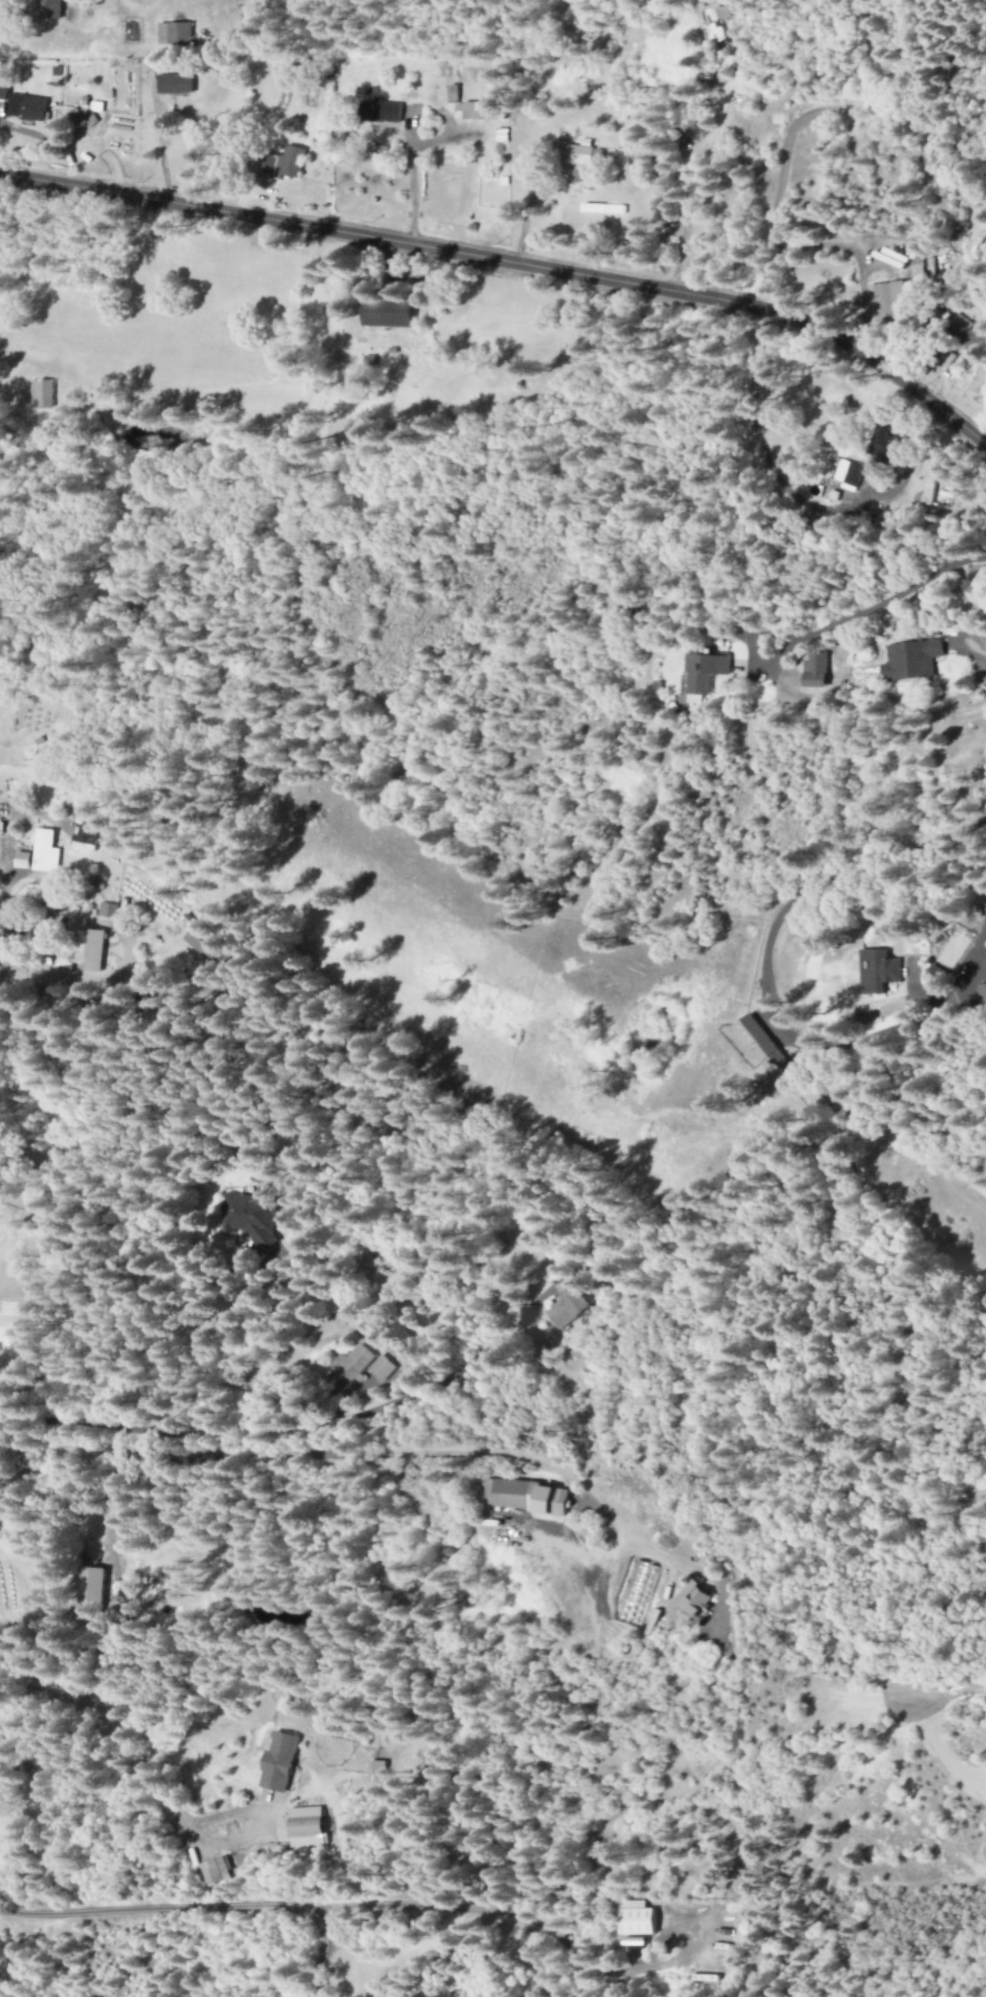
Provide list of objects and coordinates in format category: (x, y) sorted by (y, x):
building: (51, 9)
building: (715, 25)
building: (175, 33)
building: (345, 68)
building: (173, 79)
building: (5, 86)
building: (28, 107)
building: (478, 110)
building: (388, 111)
building: (622, 159)
building: (286, 163)
building: (604, 209)
road: (511, 264)
building: (885, 302)
building: (393, 312)
building: (964, 333)
building: (42, 393)
building: (879, 443)
building: (846, 473)
building: (928, 490)
building: (904, 660)
building: (807, 670)
building: (697, 672)
building: (87, 835)
building: (47, 852)
building: (24, 860)
building: (109, 910)
building: (208, 948)
building: (94, 949)
building: (878, 969)
building: (751, 1038)
building: (249, 1215)
building: (570, 1309)
building: (353, 1366)
building: (383, 1367)
building: (512, 1493)
building: (557, 1501)
building: (96, 1593)
building: (638, 1593)
building: (695, 1601)
building: (281, 1762)
building: (378, 1772)
building: (2, 1809)
building: (308, 1826)
building: (216, 1871)
building: (635, 1918)

